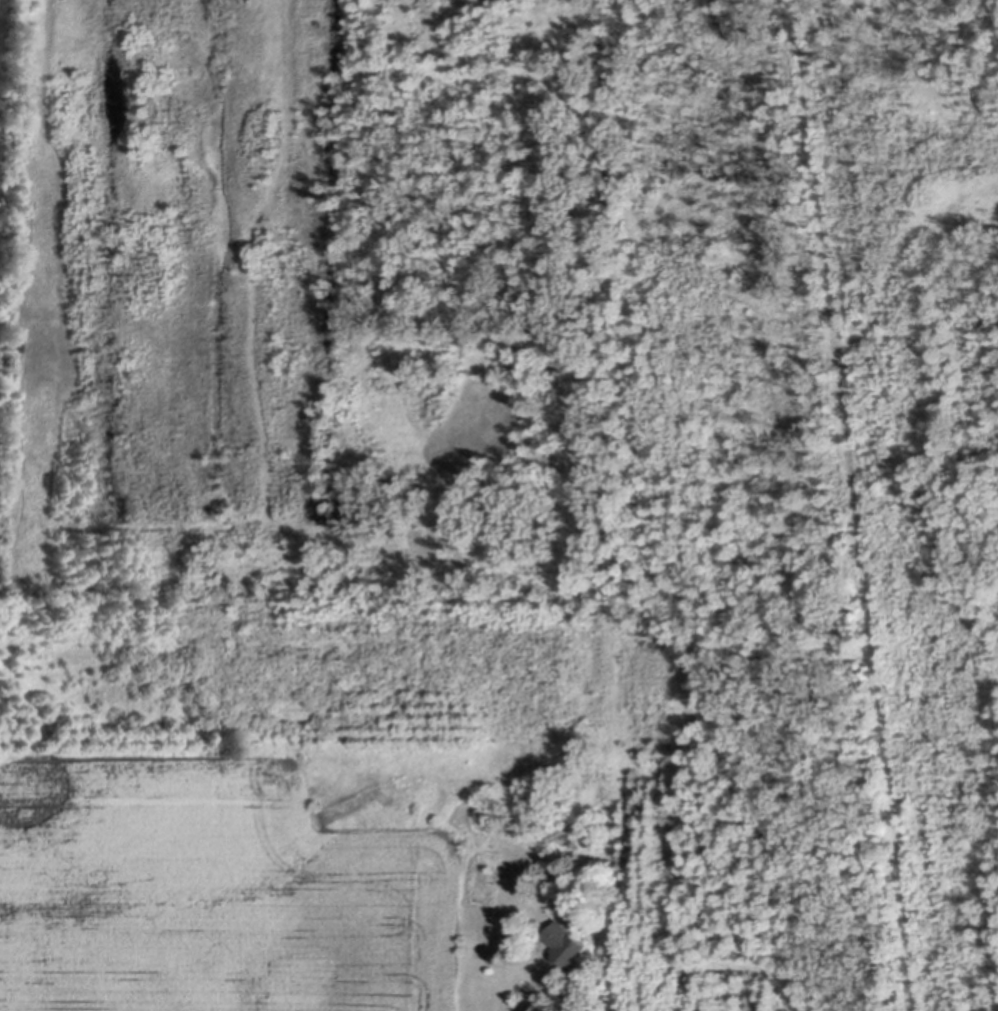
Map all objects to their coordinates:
building: (561, 941)
road: (555, 993)

